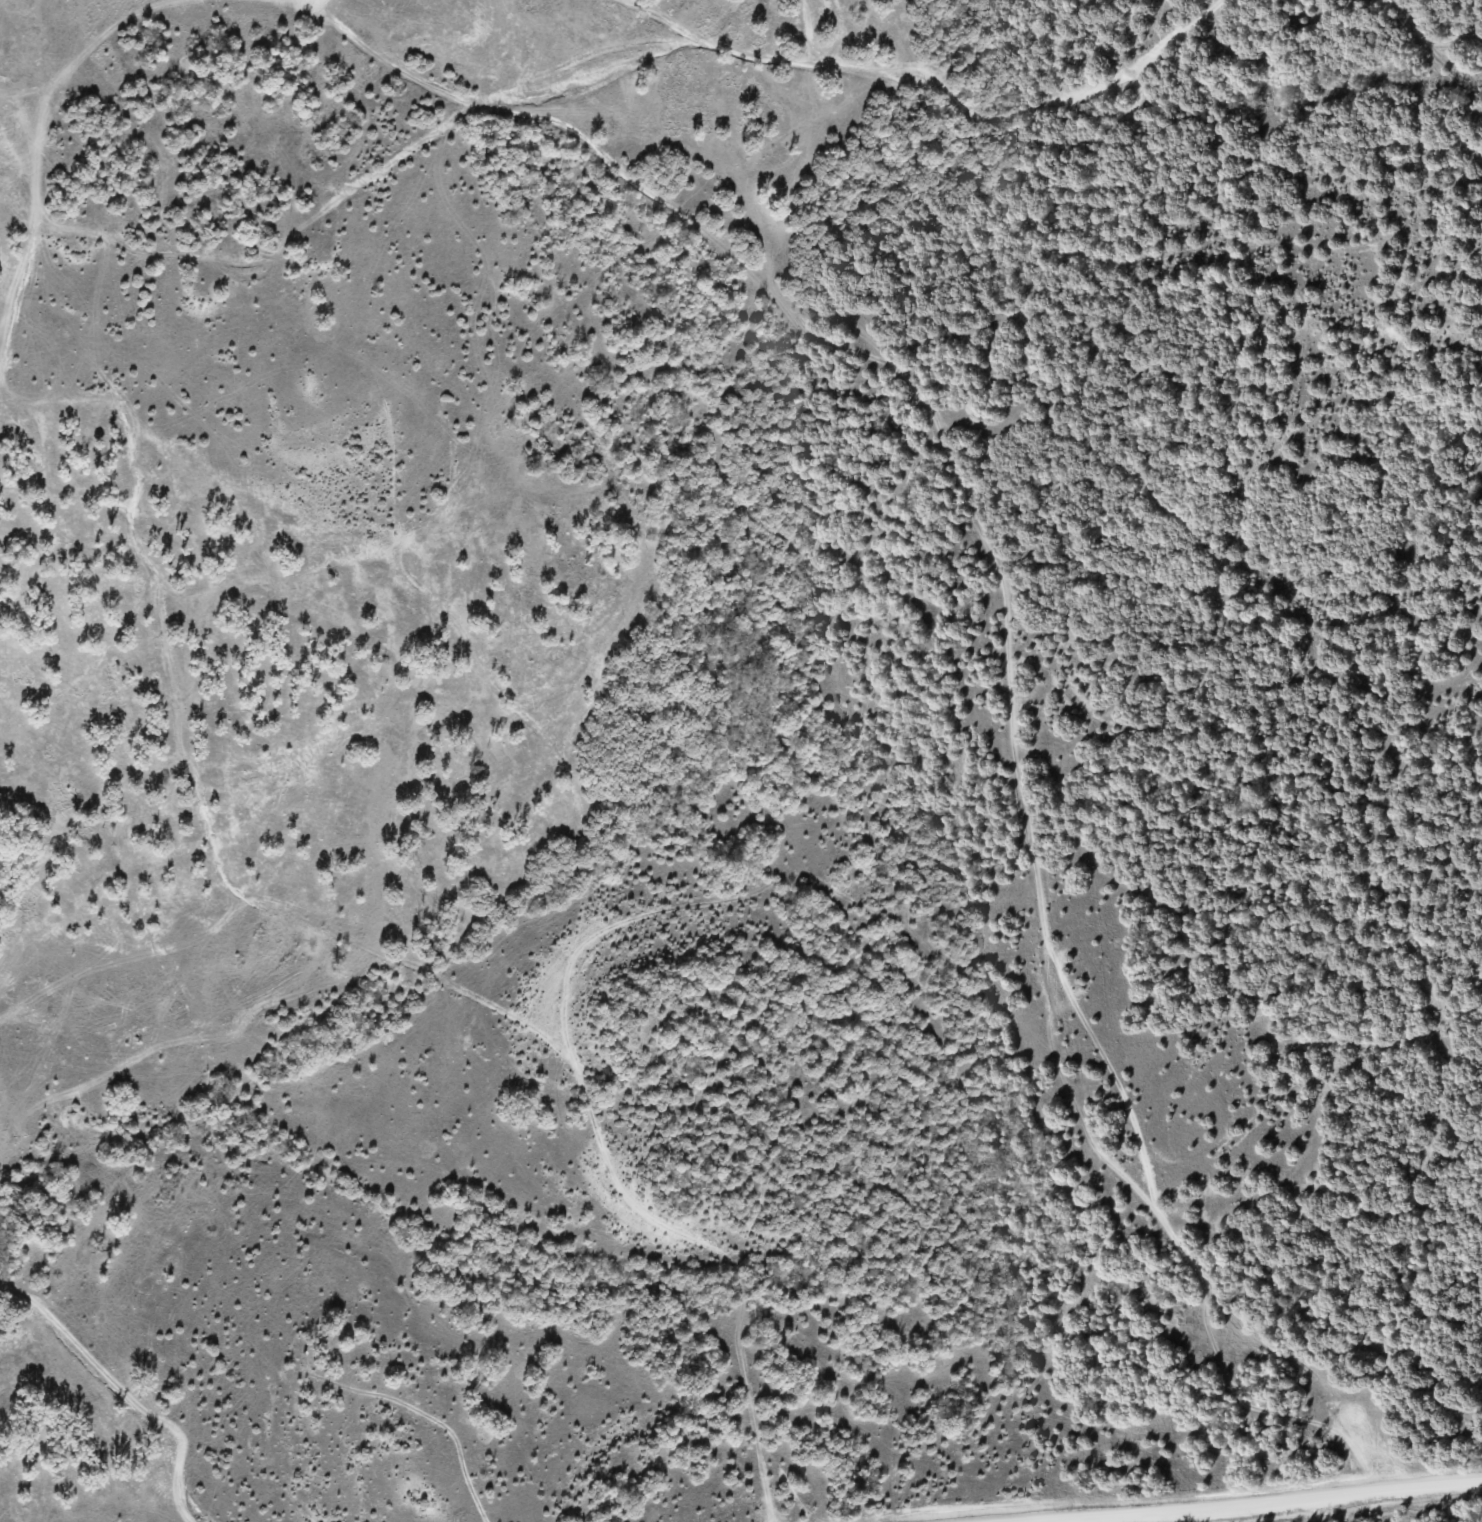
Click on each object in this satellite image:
road: (1256, 1500)

